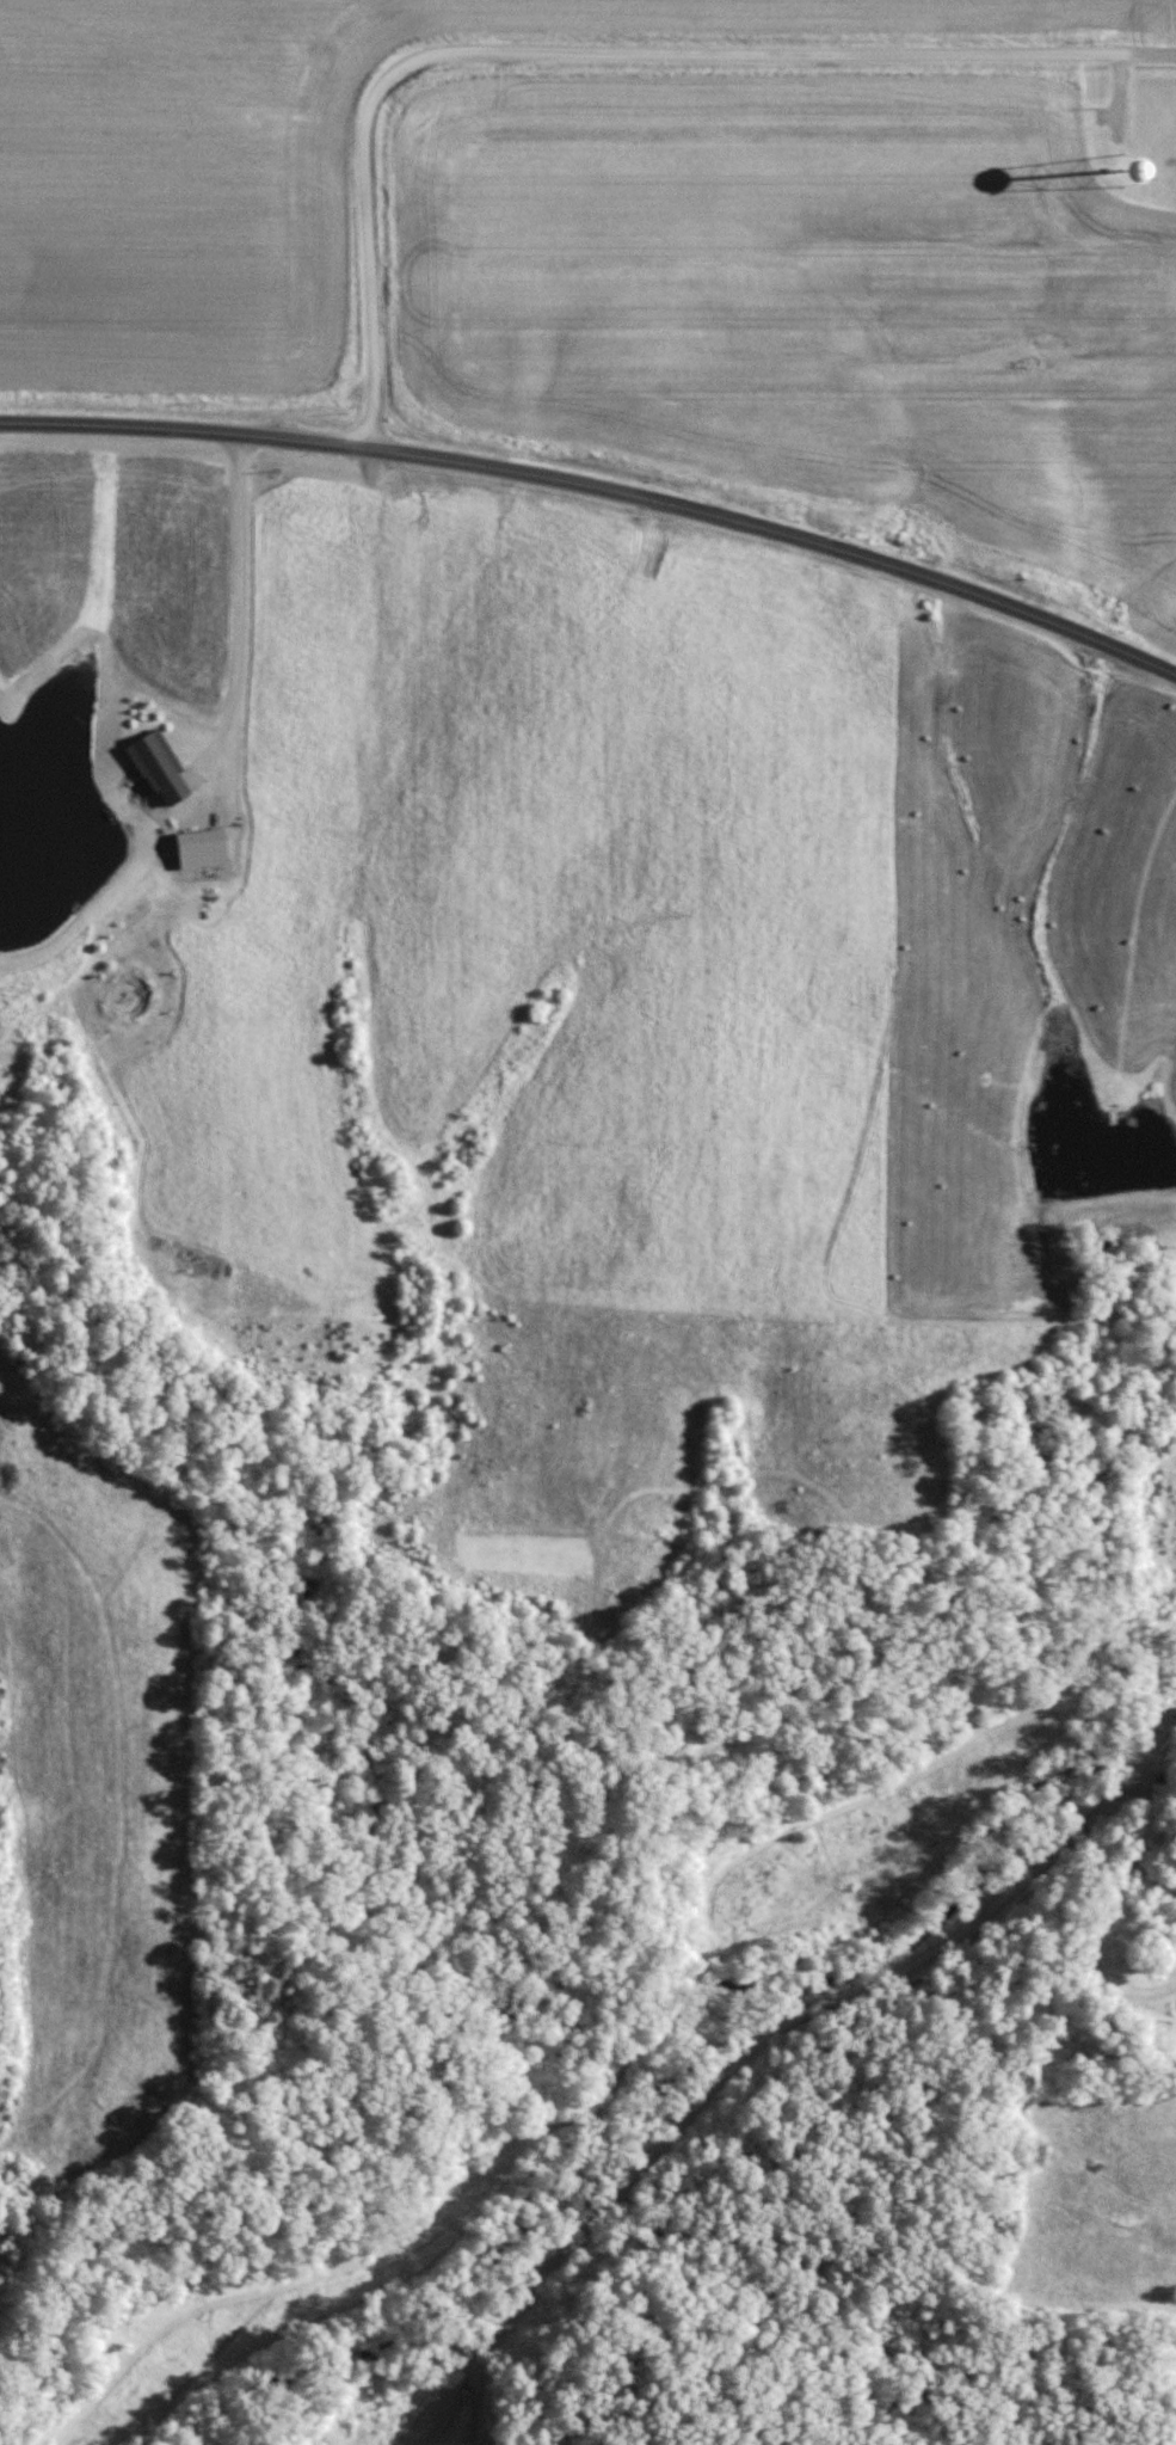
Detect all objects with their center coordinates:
road: (586, 54)
road: (599, 486)
building: (154, 766)
building: (197, 847)
road: (1137, 1836)
road: (758, 2045)
road: (467, 2406)

